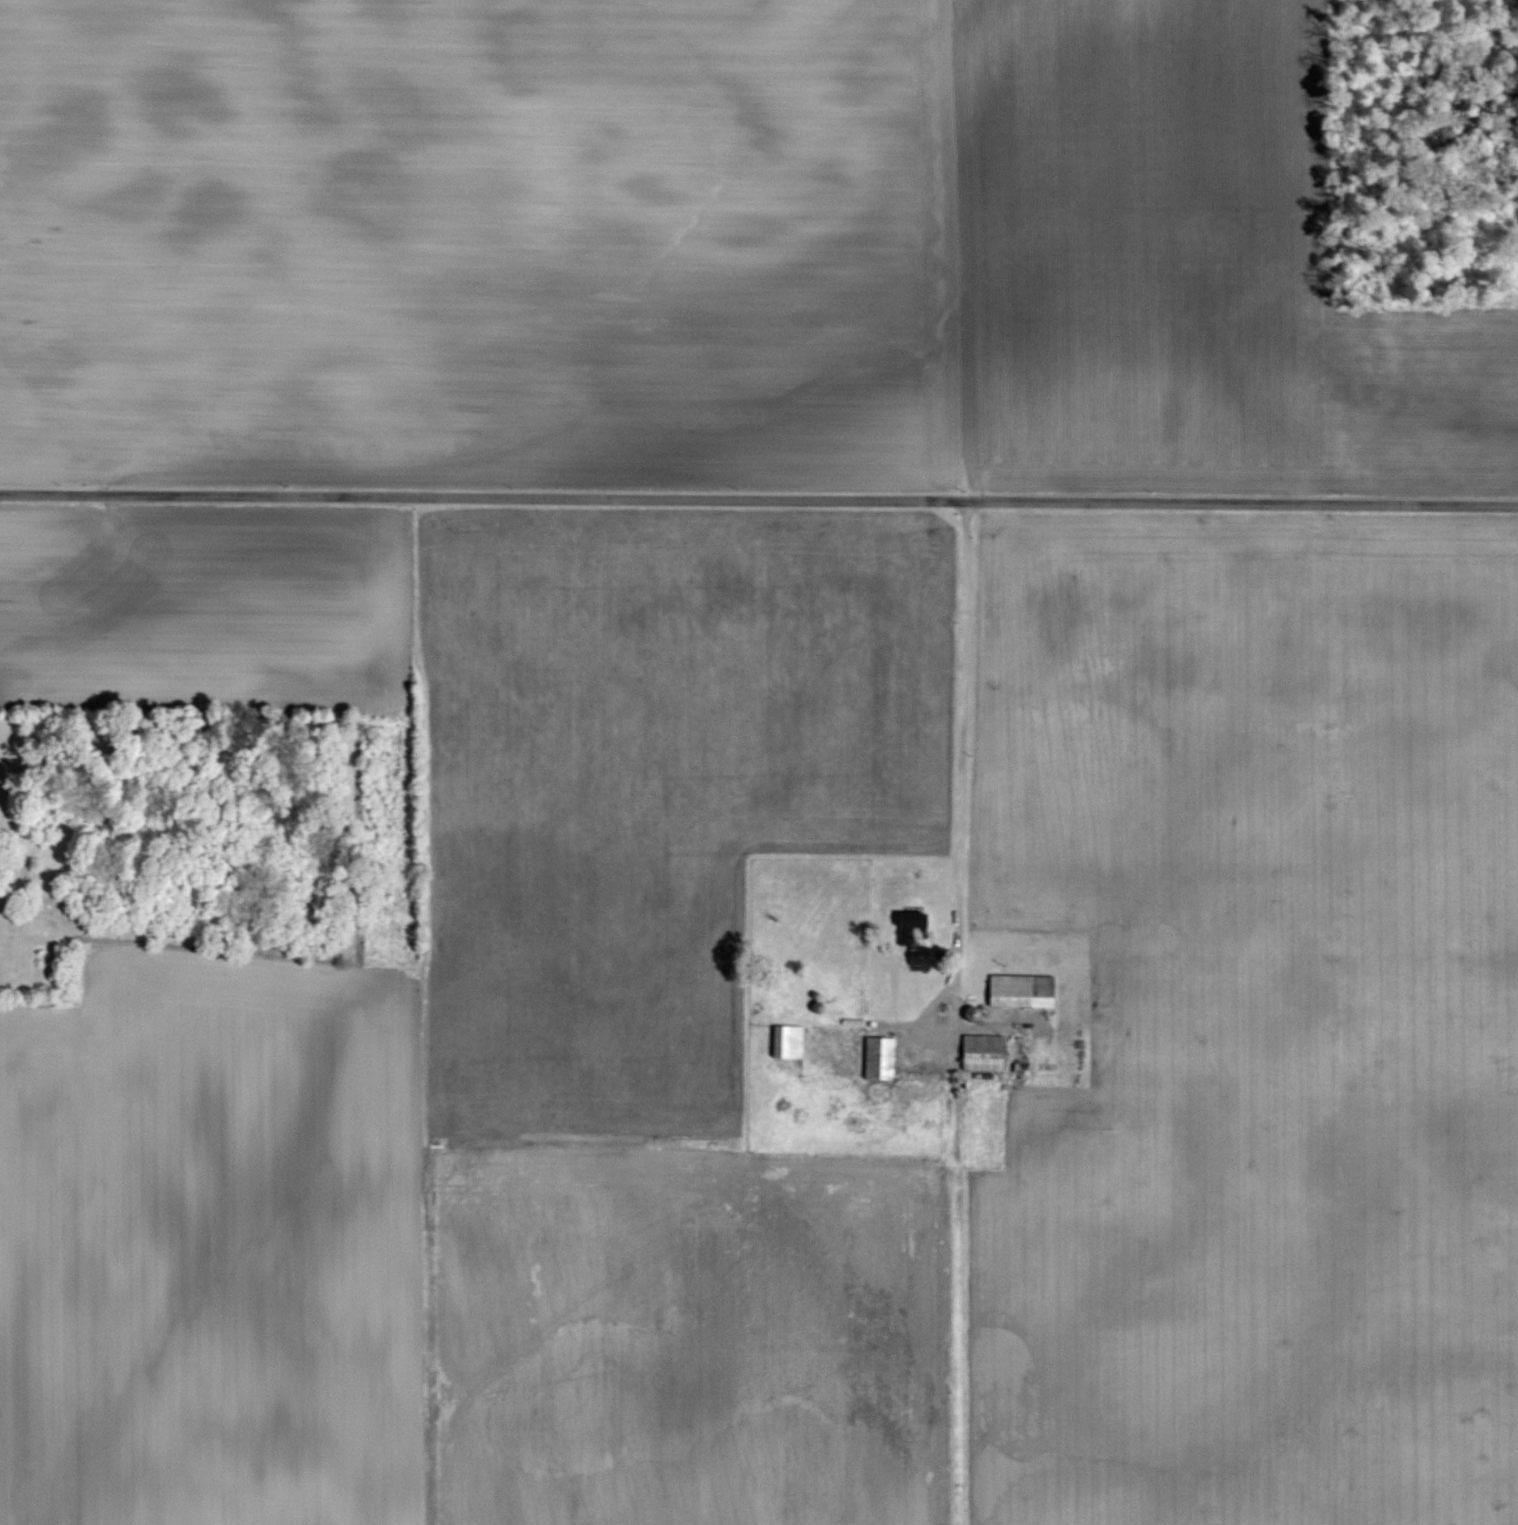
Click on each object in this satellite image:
road: (758, 498)
road: (964, 807)
building: (914, 937)
building: (1022, 992)
building: (789, 1043)
building: (984, 1053)
building: (880, 1059)

